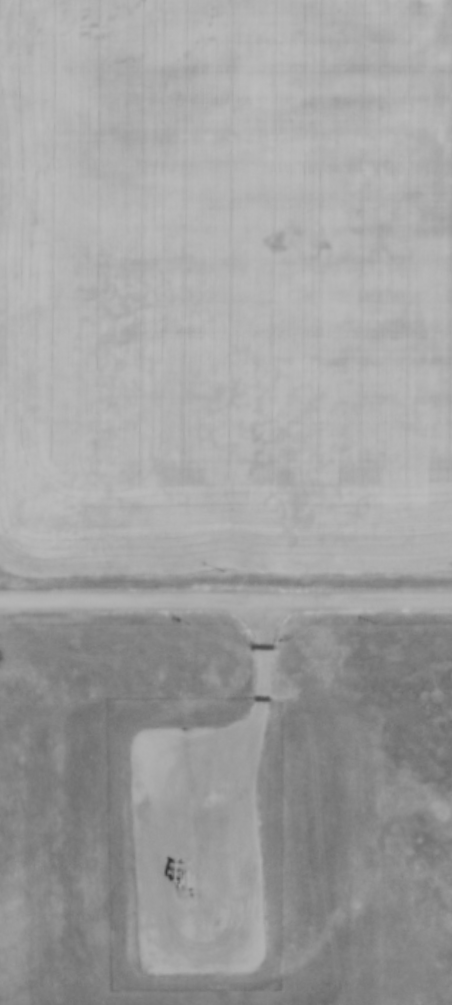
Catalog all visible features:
road: (225, 598)

